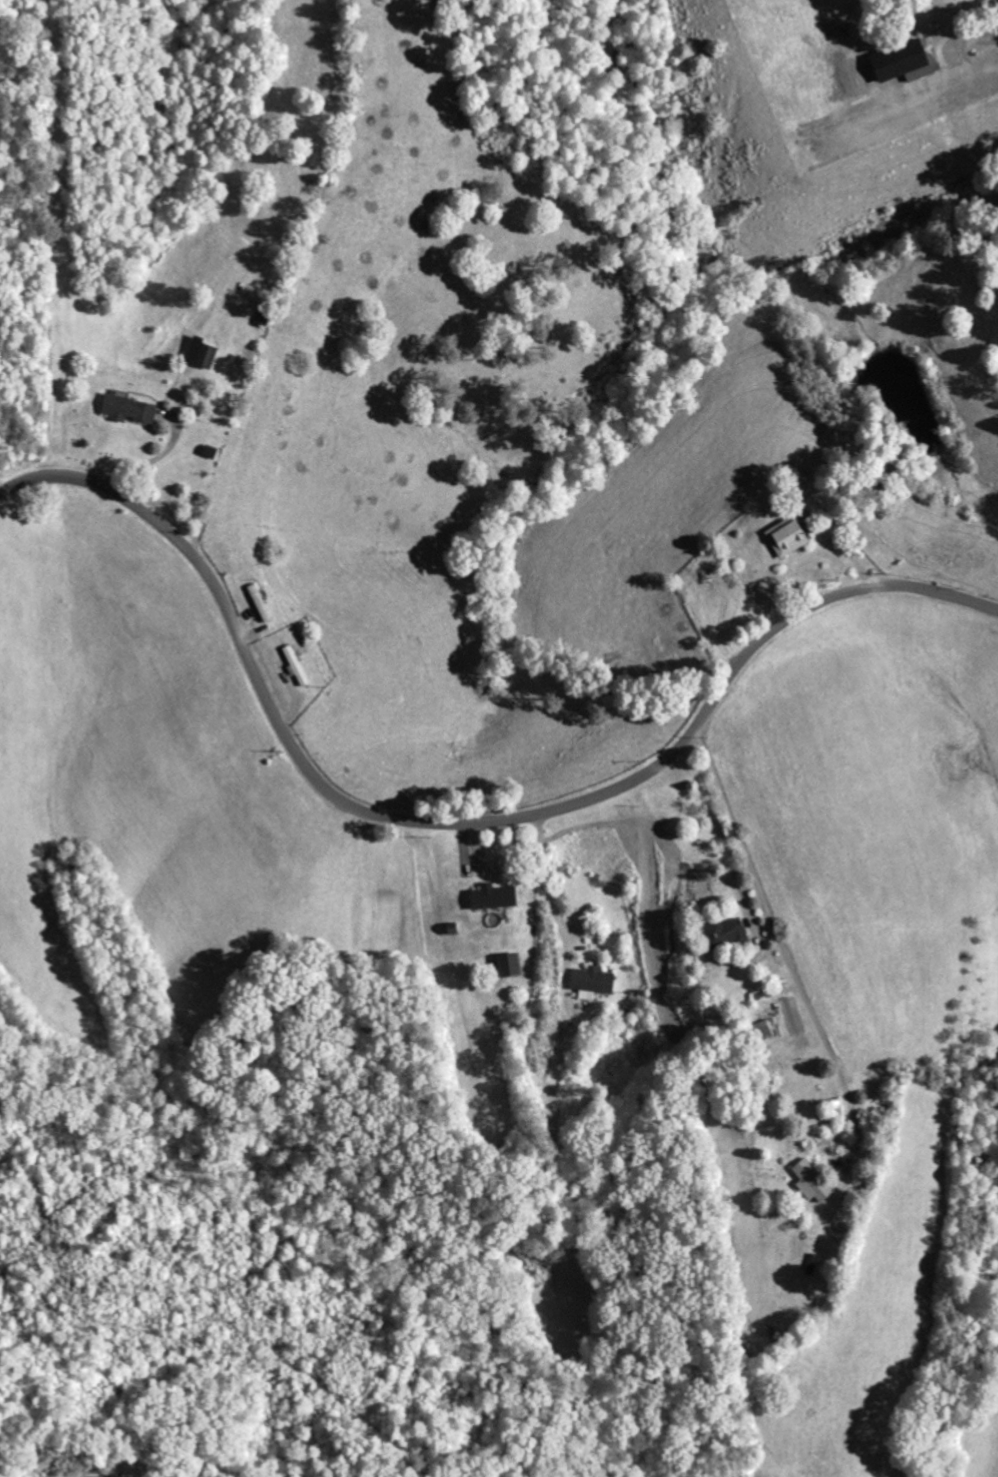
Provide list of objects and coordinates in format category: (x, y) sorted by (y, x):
building: (898, 62)
building: (199, 352)
building: (125, 408)
building: (784, 536)
building: (259, 602)
building: (295, 664)
road: (455, 826)
building: (490, 896)
building: (723, 933)
building: (505, 964)
building: (590, 982)
building: (762, 1029)
building: (831, 1110)
building: (810, 1181)
building: (110, 1476)

